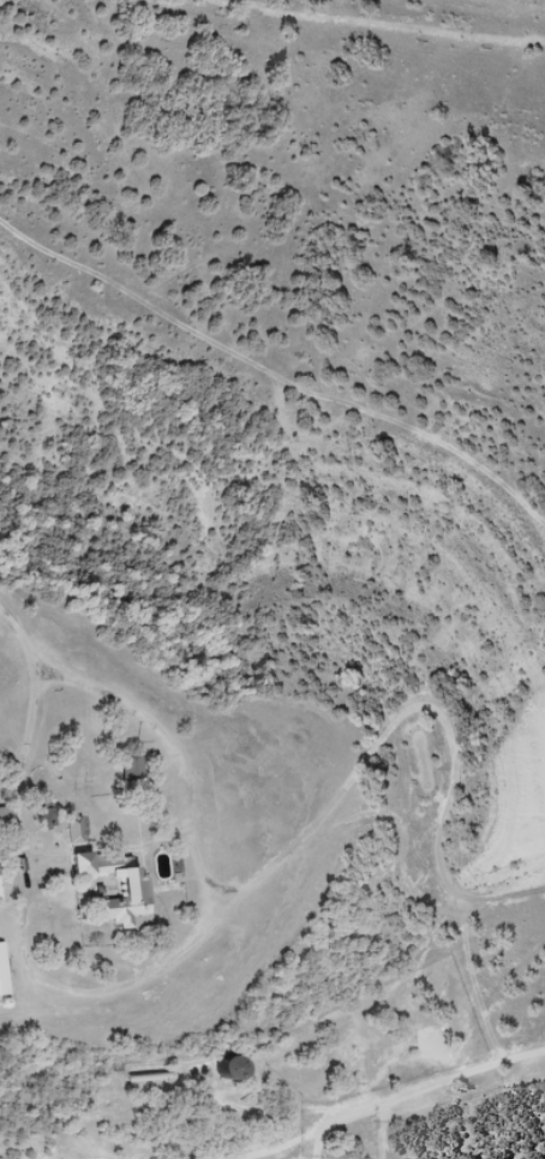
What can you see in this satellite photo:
road: (150, 728)
building: (130, 770)
building: (73, 832)
building: (131, 889)
road: (509, 895)
building: (2, 972)
road: (100, 999)
road: (517, 1061)
building: (223, 1069)

